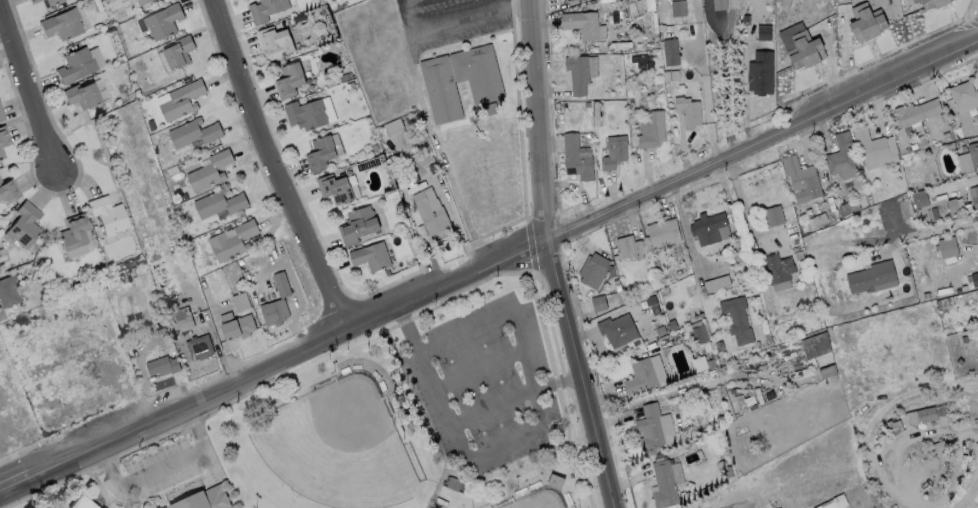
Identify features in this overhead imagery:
building: (33, 1)
building: (50, 1)
building: (141, 2)
building: (931, 3)
building: (266, 9)
building: (864, 15)
building: (162, 21)
building: (60, 24)
road: (453, 24)
building: (581, 24)
building: (799, 37)
building: (274, 43)
building: (178, 52)
building: (669, 52)
building: (75, 65)
building: (760, 73)
building: (576, 74)
building: (289, 80)
road: (29, 84)
building: (484, 85)
building: (82, 95)
building: (963, 95)
road: (707, 100)
building: (182, 101)
building: (687, 111)
building: (915, 111)
building: (305, 114)
building: (2, 115)
building: (651, 130)
building: (194, 133)
building: (3, 135)
building: (872, 148)
building: (1, 152)
building: (613, 152)
building: (972, 153)
building: (320, 154)
road: (439, 154)
building: (841, 156)
building: (575, 158)
road: (274, 167)
building: (209, 171)
building: (801, 176)
building: (8, 189)
building: (334, 189)
building: (974, 195)
building: (838, 199)
building: (919, 199)
building: (218, 202)
building: (429, 211)
building: (106, 214)
building: (774, 215)
building: (23, 224)
building: (357, 226)
building: (706, 227)
road: (931, 229)
building: (72, 231)
building: (662, 232)
building: (232, 240)
building: (625, 246)
building: (947, 249)
building: (974, 251)
building: (370, 257)
road: (551, 257)
building: (596, 266)
road: (488, 268)
building: (777, 268)
building: (871, 277)
building: (974, 278)
building: (716, 282)
building: (937, 282)
building: (6, 292)
building: (977, 292)
building: (276, 301)
building: (1, 315)
road: (401, 315)
building: (183, 318)
building: (736, 318)
building: (237, 326)
building: (617, 329)
building: (811, 336)
building: (199, 346)
building: (823, 362)
building: (162, 365)
road: (480, 368)
road: (531, 372)
building: (644, 374)
road: (569, 380)
parking lot: (483, 382)
building: (926, 405)
road: (422, 412)
building: (926, 414)
park: (381, 422)
road: (451, 425)
building: (653, 426)
road: (900, 443)
park: (333, 444)
building: (940, 449)
road: (537, 455)
road: (161, 469)
parking lot: (158, 472)
building: (555, 481)
building: (663, 484)
road: (966, 492)
building: (209, 500)
park: (543, 501)
building: (80, 503)

